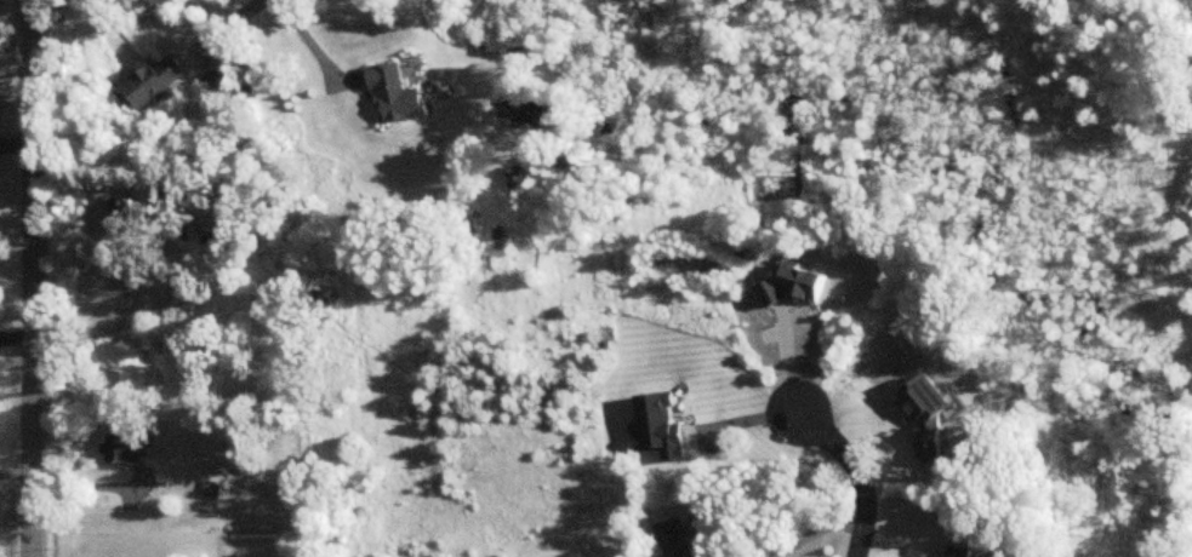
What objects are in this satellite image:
road: (310, 47)
building: (221, 80)
building: (152, 85)
building: (393, 96)
building: (142, 212)
road: (32, 277)
road: (108, 325)
building: (120, 449)
road: (849, 476)
road: (814, 533)
building: (677, 539)
building: (962, 552)

